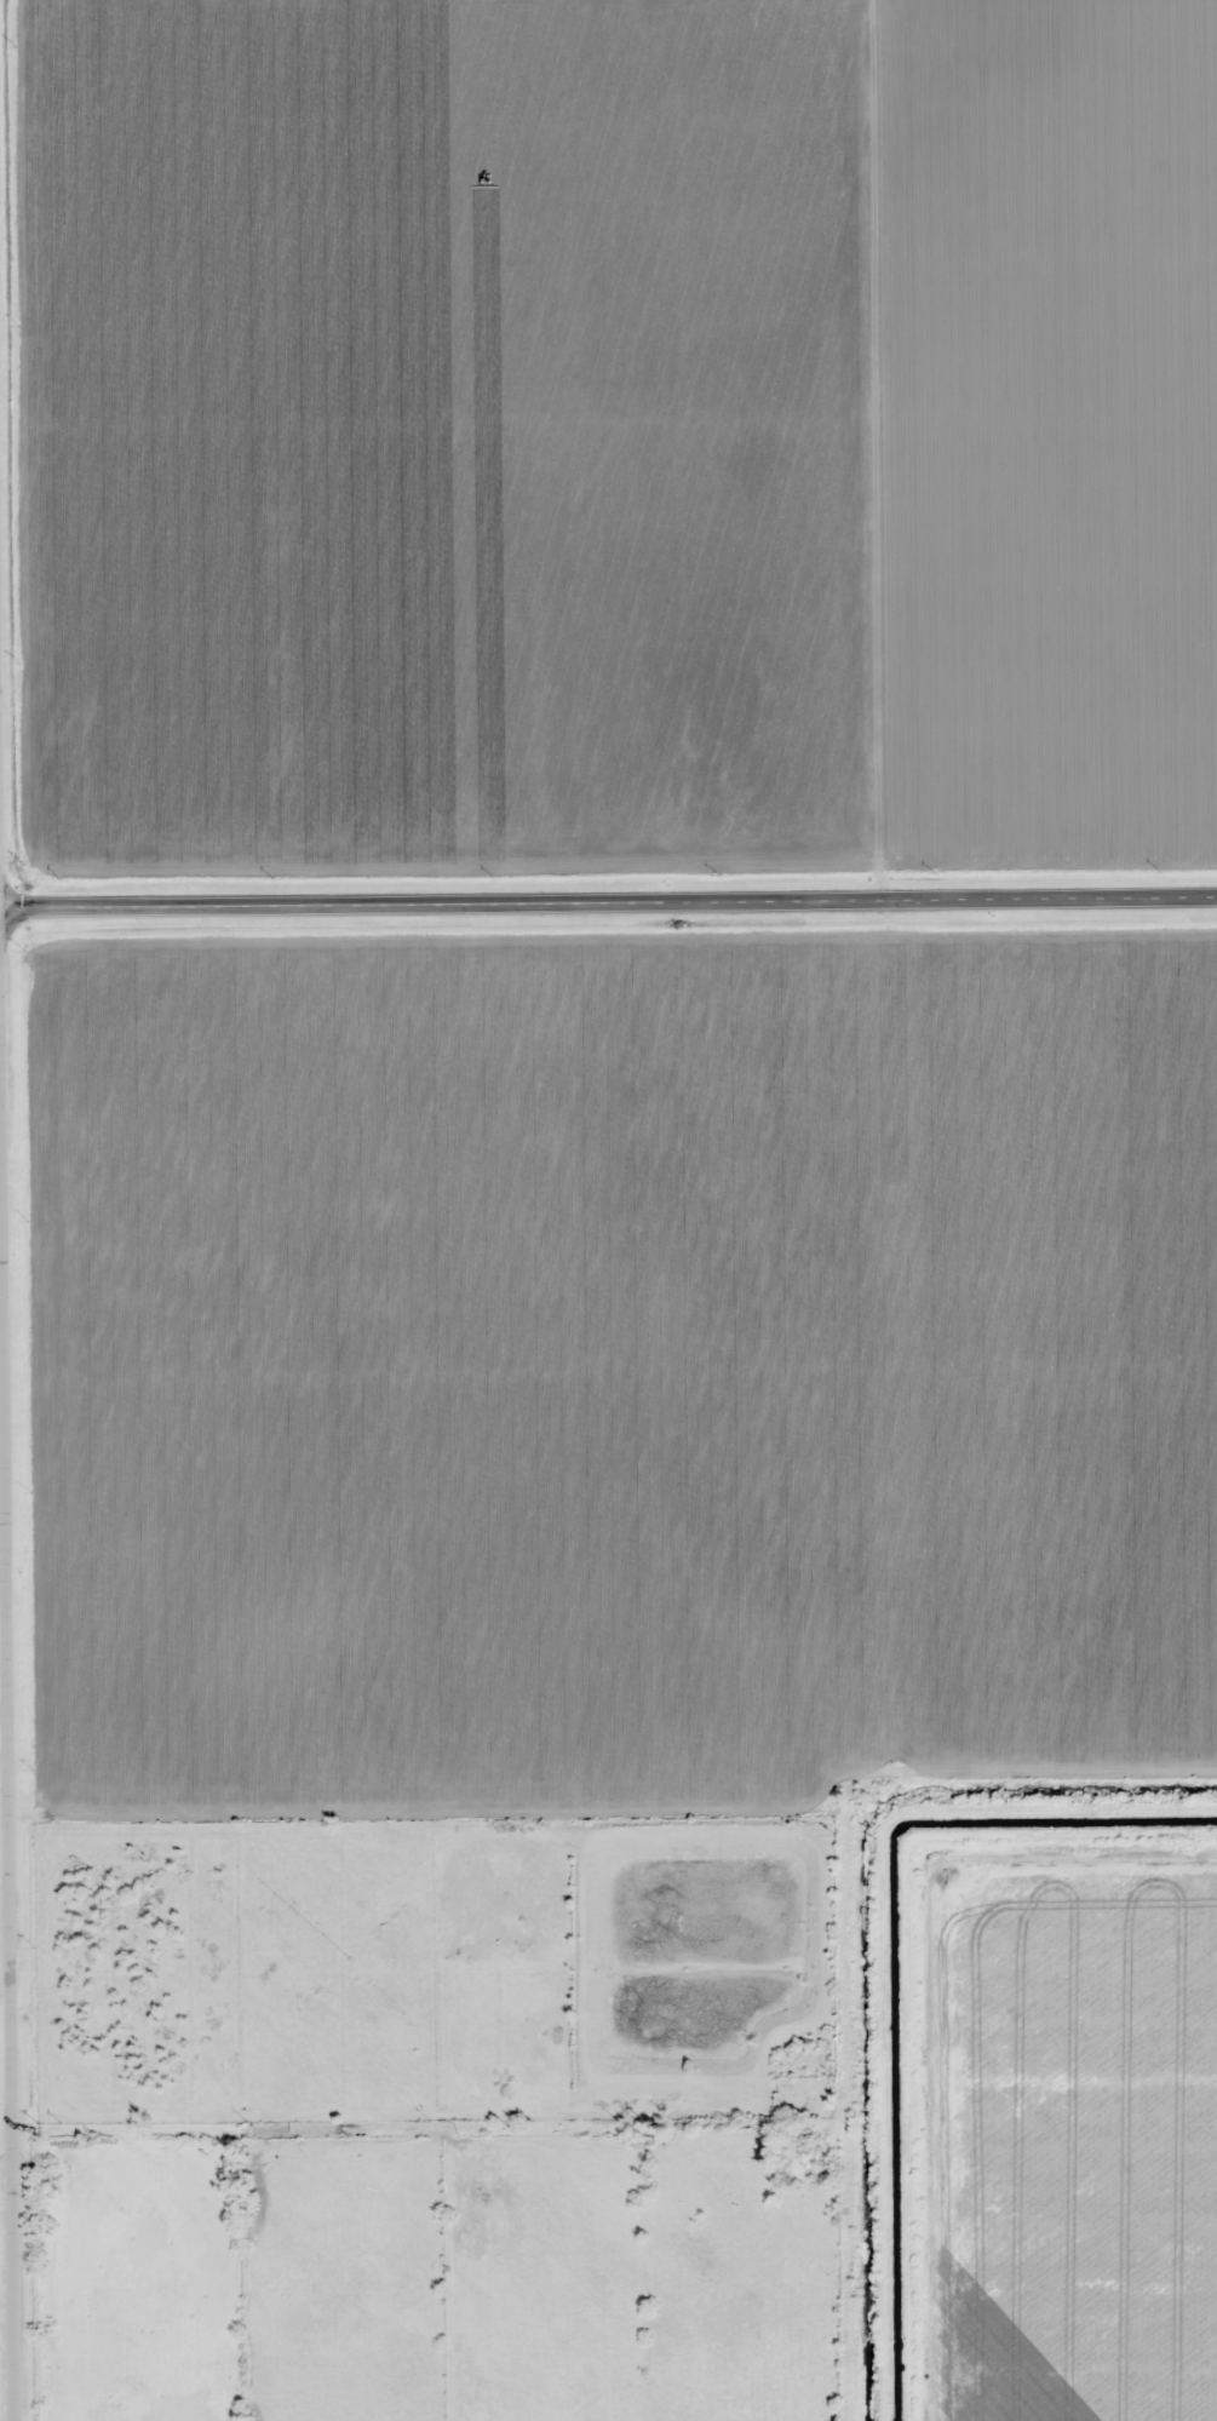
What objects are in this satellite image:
road: (608, 901)
road: (2, 1954)

